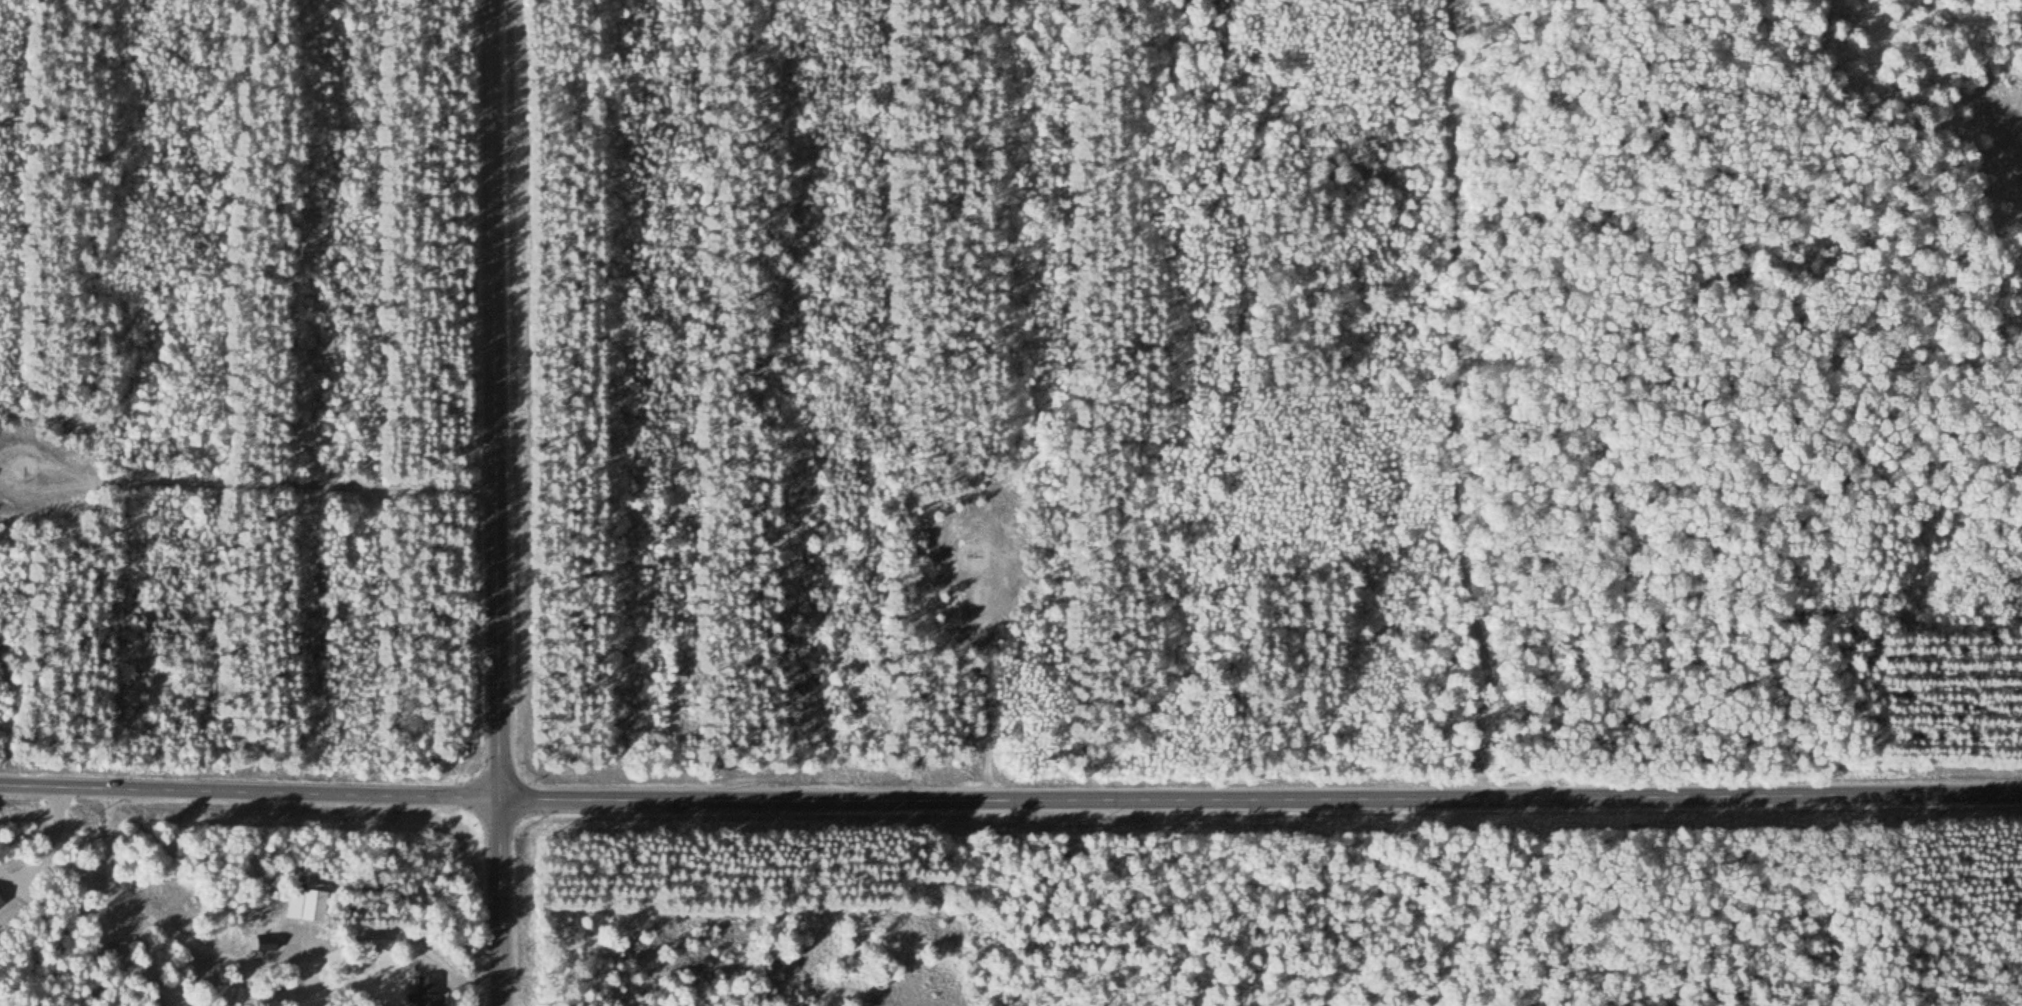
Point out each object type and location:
road: (1451, 404)
petroleum well: (23, 470)
road: (215, 483)
road: (496, 503)
road: (983, 681)
road: (1010, 802)
road: (2019, 802)
building: (305, 904)
building: (425, 992)

